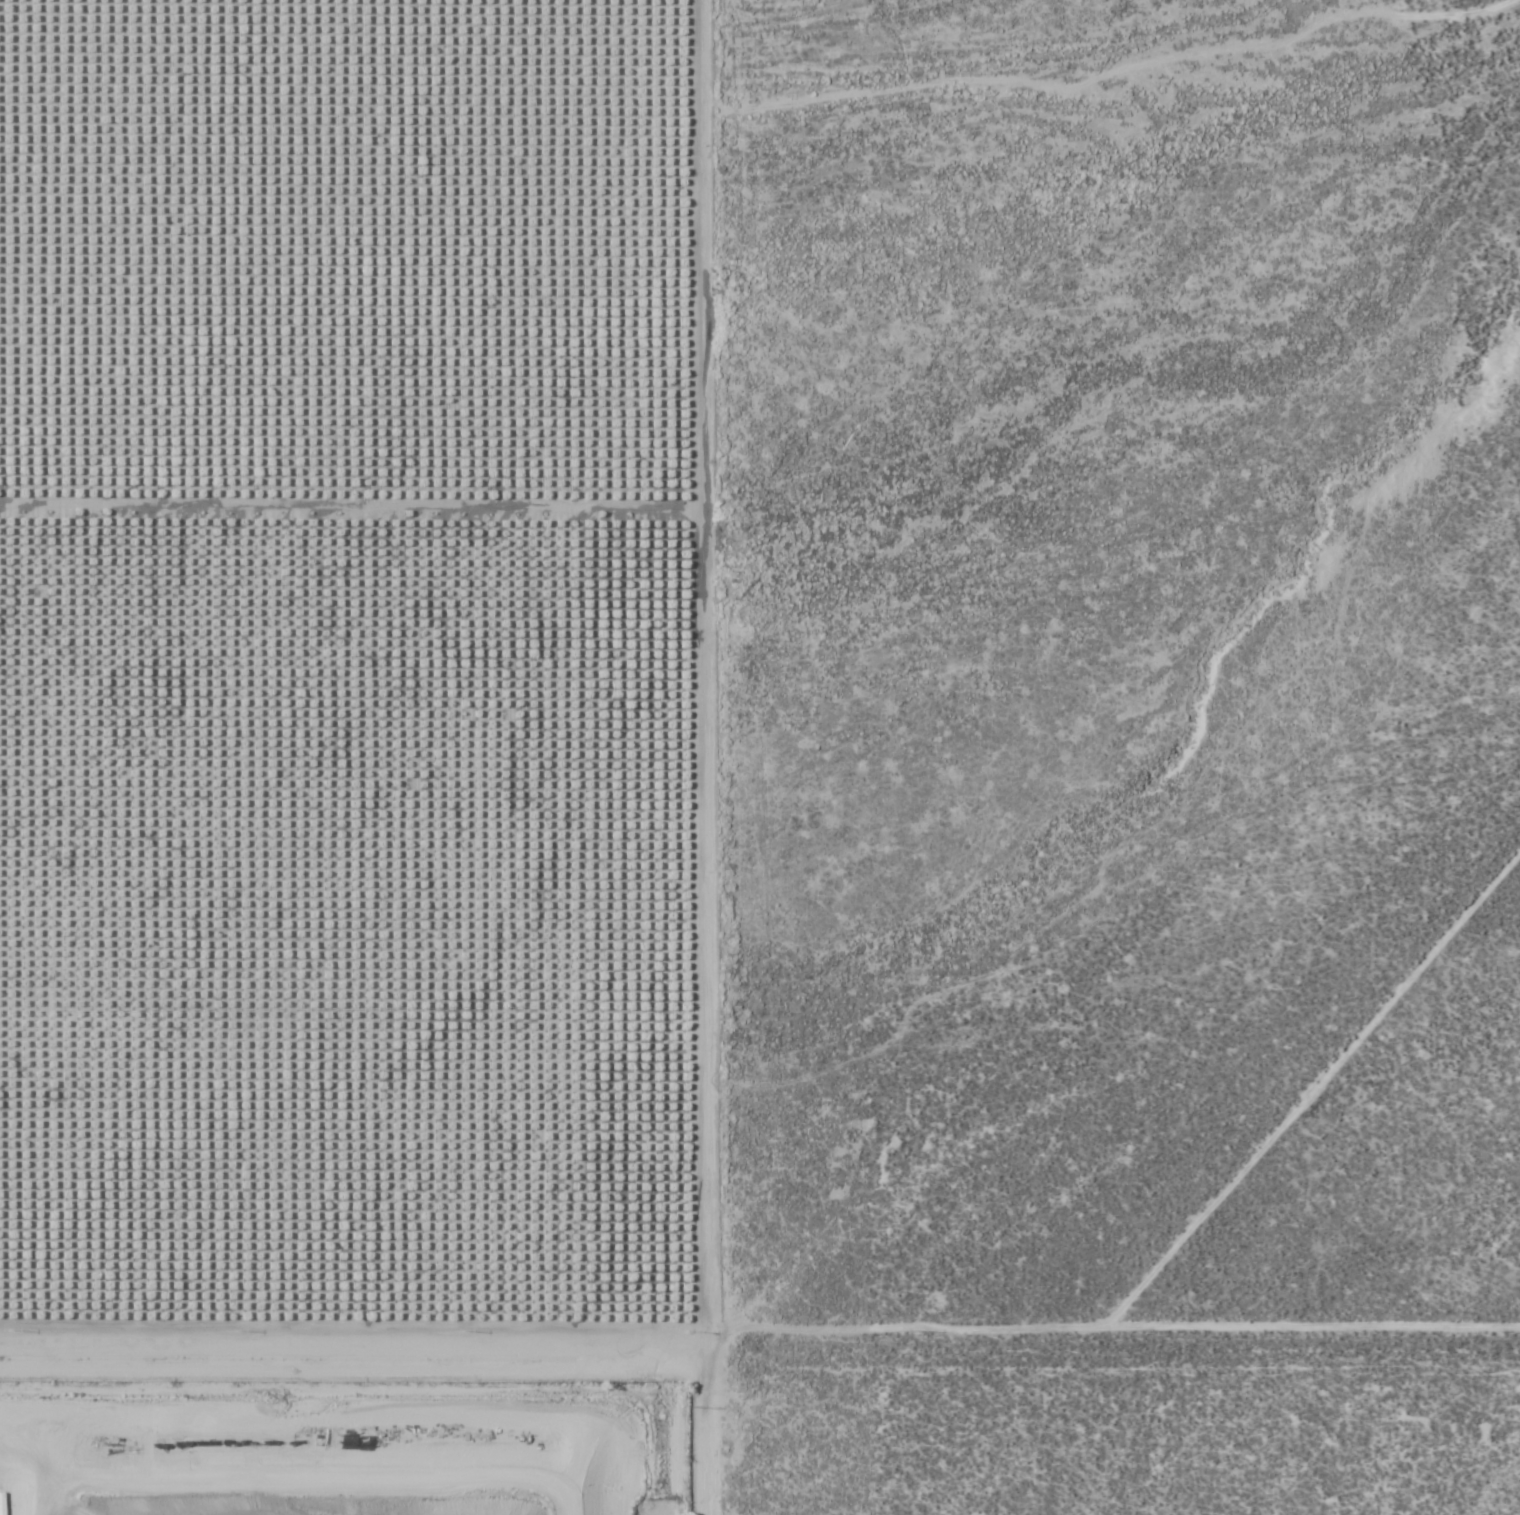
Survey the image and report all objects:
crop: (346, 655)
road: (759, 1375)
landfill: (345, 1414)
building: (330, 1438)

